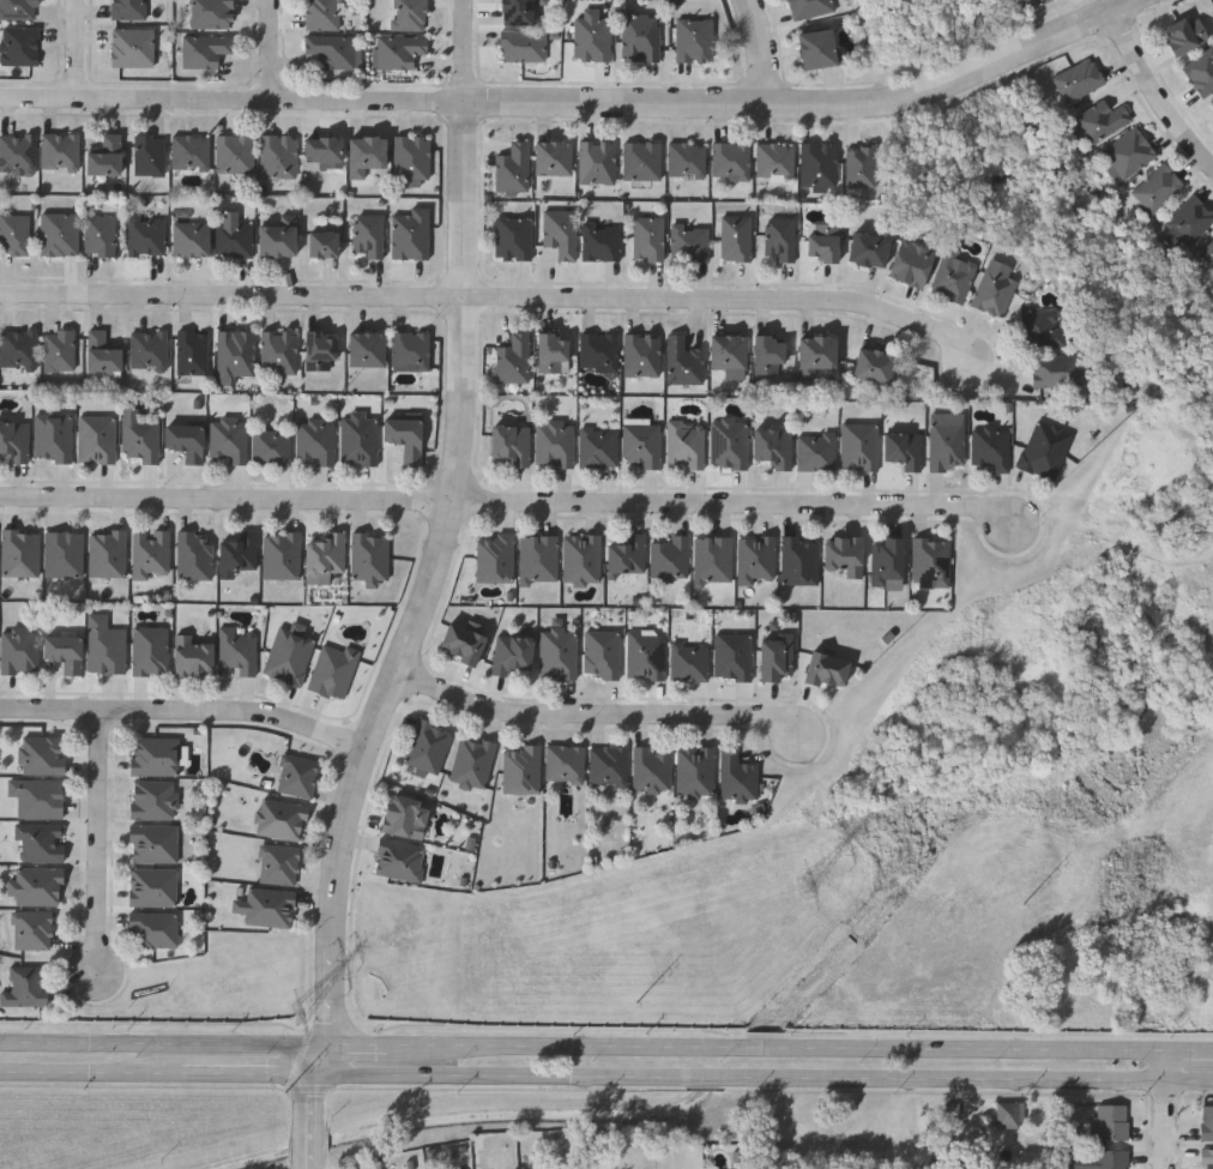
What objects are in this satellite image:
building: (1033, 2)
building: (808, 7)
building: (18, 8)
building: (129, 8)
building: (517, 11)
building: (211, 13)
building: (324, 14)
building: (409, 14)
building: (640, 35)
building: (1185, 35)
building: (592, 38)
building: (694, 40)
building: (20, 44)
building: (523, 44)
building: (131, 46)
building: (816, 47)
building: (204, 49)
building: (332, 49)
road: (272, 50)
building: (398, 50)
road: (83, 53)
road: (767, 53)
building: (1201, 72)
building: (1078, 80)
road: (1155, 88)
building: (1212, 102)
road: (581, 107)
building: (1100, 121)
road: (466, 147)
building: (322, 149)
building: (60, 151)
building: (191, 151)
building: (17, 152)
building: (235, 152)
building: (150, 153)
building: (364, 153)
building: (104, 155)
building: (279, 155)
building: (1127, 155)
building: (412, 157)
building: (554, 157)
building: (687, 158)
building: (730, 158)
building: (642, 159)
building: (598, 161)
building: (774, 161)
building: (819, 163)
building: (861, 163)
building: (512, 167)
building: (1157, 188)
building: (1189, 219)
building: (561, 231)
building: (14, 233)
building: (60, 233)
building: (410, 233)
building: (99, 234)
building: (146, 234)
building: (368, 234)
building: (513, 236)
building: (647, 236)
building: (736, 236)
building: (780, 236)
building: (191, 237)
building: (234, 237)
building: (277, 240)
building: (822, 240)
building: (602, 241)
building: (689, 241)
building: (322, 242)
building: (867, 247)
building: (1207, 252)
building: (910, 261)
building: (952, 275)
building: (992, 290)
road: (494, 297)
building: (1042, 327)
building: (19, 348)
building: (367, 348)
building: (59, 349)
building: (149, 349)
building: (320, 349)
building: (410, 349)
building: (193, 350)
building: (279, 350)
building: (729, 350)
building: (101, 351)
building: (553, 351)
building: (598, 351)
building: (234, 354)
building: (641, 354)
building: (768, 354)
building: (815, 354)
building: (514, 357)
building: (683, 361)
building: (873, 363)
building: (1056, 369)
building: (53, 436)
building: (405, 436)
building: (97, 438)
building: (14, 439)
building: (141, 439)
building: (229, 439)
building: (316, 439)
building: (358, 439)
building: (186, 440)
building: (509, 442)
building: (555, 444)
building: (641, 444)
building: (729, 444)
building: (272, 445)
building: (598, 445)
building: (686, 445)
building: (861, 445)
building: (947, 445)
building: (773, 446)
building: (990, 446)
building: (903, 447)
building: (1045, 448)
building: (815, 451)
road: (508, 502)
building: (22, 552)
building: (108, 552)
building: (239, 552)
building: (65, 553)
building: (151, 553)
building: (194, 554)
building: (282, 554)
building: (844, 554)
building: (627, 555)
building: (326, 556)
building: (369, 556)
building: (495, 556)
building: (538, 558)
building: (581, 558)
building: (670, 558)
building: (713, 558)
building: (756, 558)
building: (799, 559)
building: (887, 560)
building: (931, 560)
building: (461, 643)
building: (104, 644)
building: (19, 650)
building: (151, 650)
building: (65, 651)
building: (236, 651)
building: (289, 652)
building: (512, 652)
building: (559, 652)
building: (602, 653)
building: (192, 655)
building: (646, 655)
building: (732, 656)
building: (776, 656)
building: (689, 662)
building: (333, 669)
building: (826, 669)
road: (398, 670)
road: (186, 711)
road: (601, 715)
building: (428, 745)
building: (42, 753)
building: (155, 755)
building: (472, 761)
building: (565, 763)
building: (608, 764)
building: (521, 769)
building: (651, 769)
building: (695, 771)
building: (297, 773)
building: (737, 777)
building: (38, 796)
building: (153, 797)
building: (405, 815)
building: (282, 818)
building: (40, 842)
building: (153, 842)
road: (101, 846)
building: (399, 858)
building: (278, 863)
building: (36, 885)
building: (152, 885)
power tower: (805, 886)
building: (266, 905)
building: (153, 928)
building: (32, 929)
building: (26, 986)
road: (164, 1041)
road: (358, 1043)
road: (776, 1047)
road: (1189, 1049)
road: (320, 1056)
road: (301, 1057)
road: (91, 1069)
road: (248, 1071)
road: (762, 1074)
road: (312, 1086)
road: (1165, 1109)
road: (517, 1113)
building: (1009, 1113)
building: (954, 1116)
road: (310, 1119)
building: (1112, 1122)
building: (1207, 1125)
building: (1111, 1159)
building: (1208, 1159)

